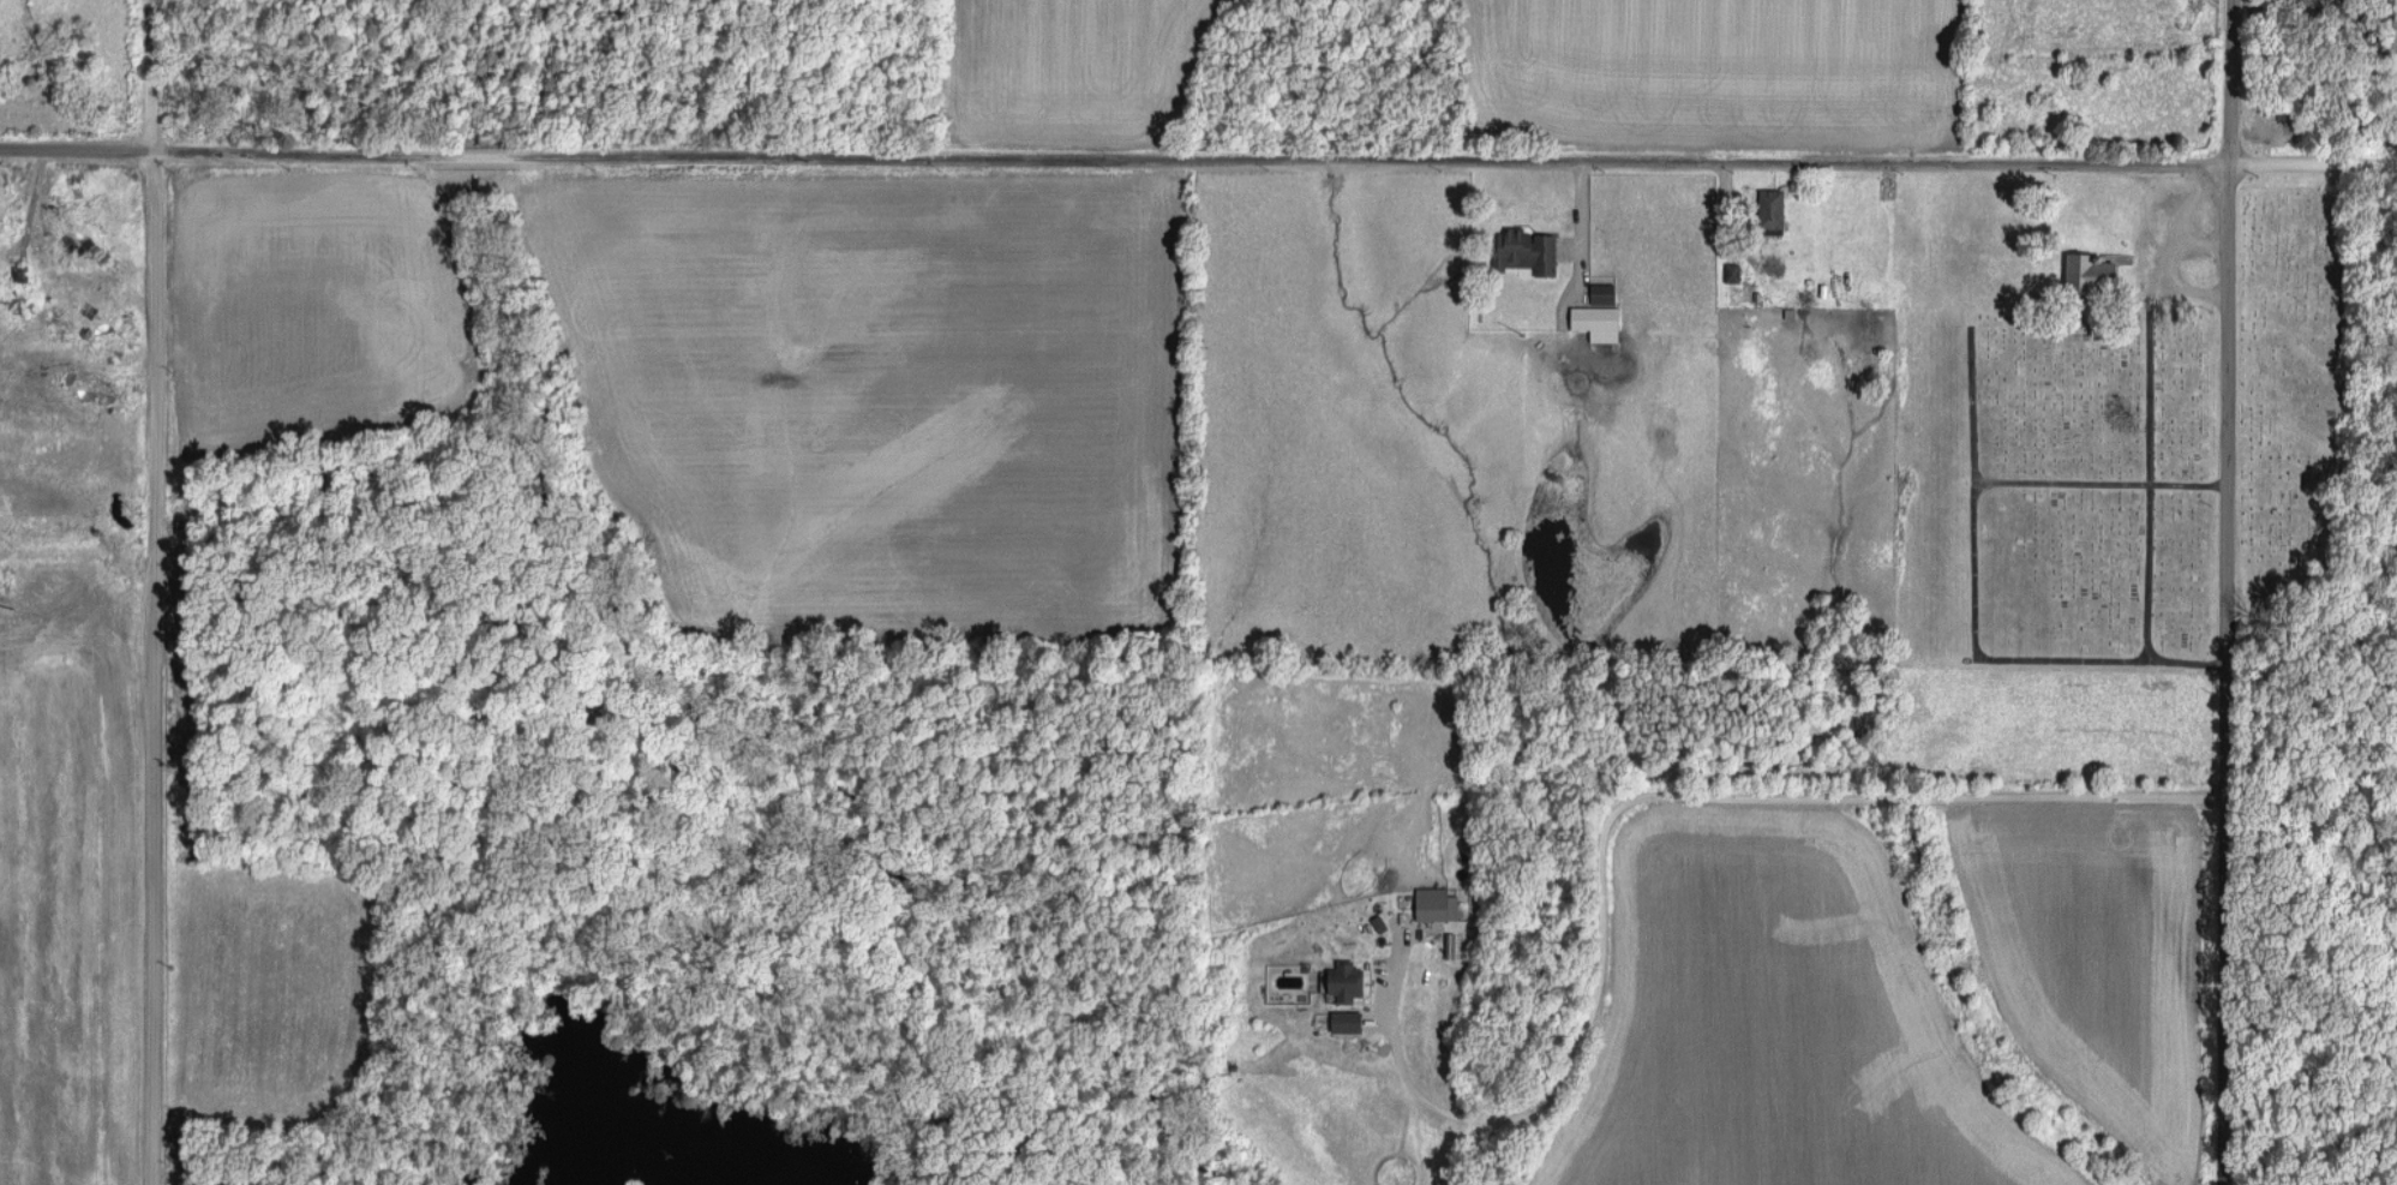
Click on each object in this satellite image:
road: (77, 132)
road: (1276, 142)
building: (1774, 208)
road: (2168, 226)
road: (2198, 227)
building: (1530, 250)
building: (2092, 259)
building: (1732, 271)
building: (1605, 293)
building: (1599, 322)
road: (2149, 448)
road: (2099, 467)
road: (155, 592)
road: (2225, 592)
road: (1974, 599)
road: (1623, 785)
building: (1437, 903)
road: (1452, 962)
building: (1346, 980)
building: (1348, 1019)

